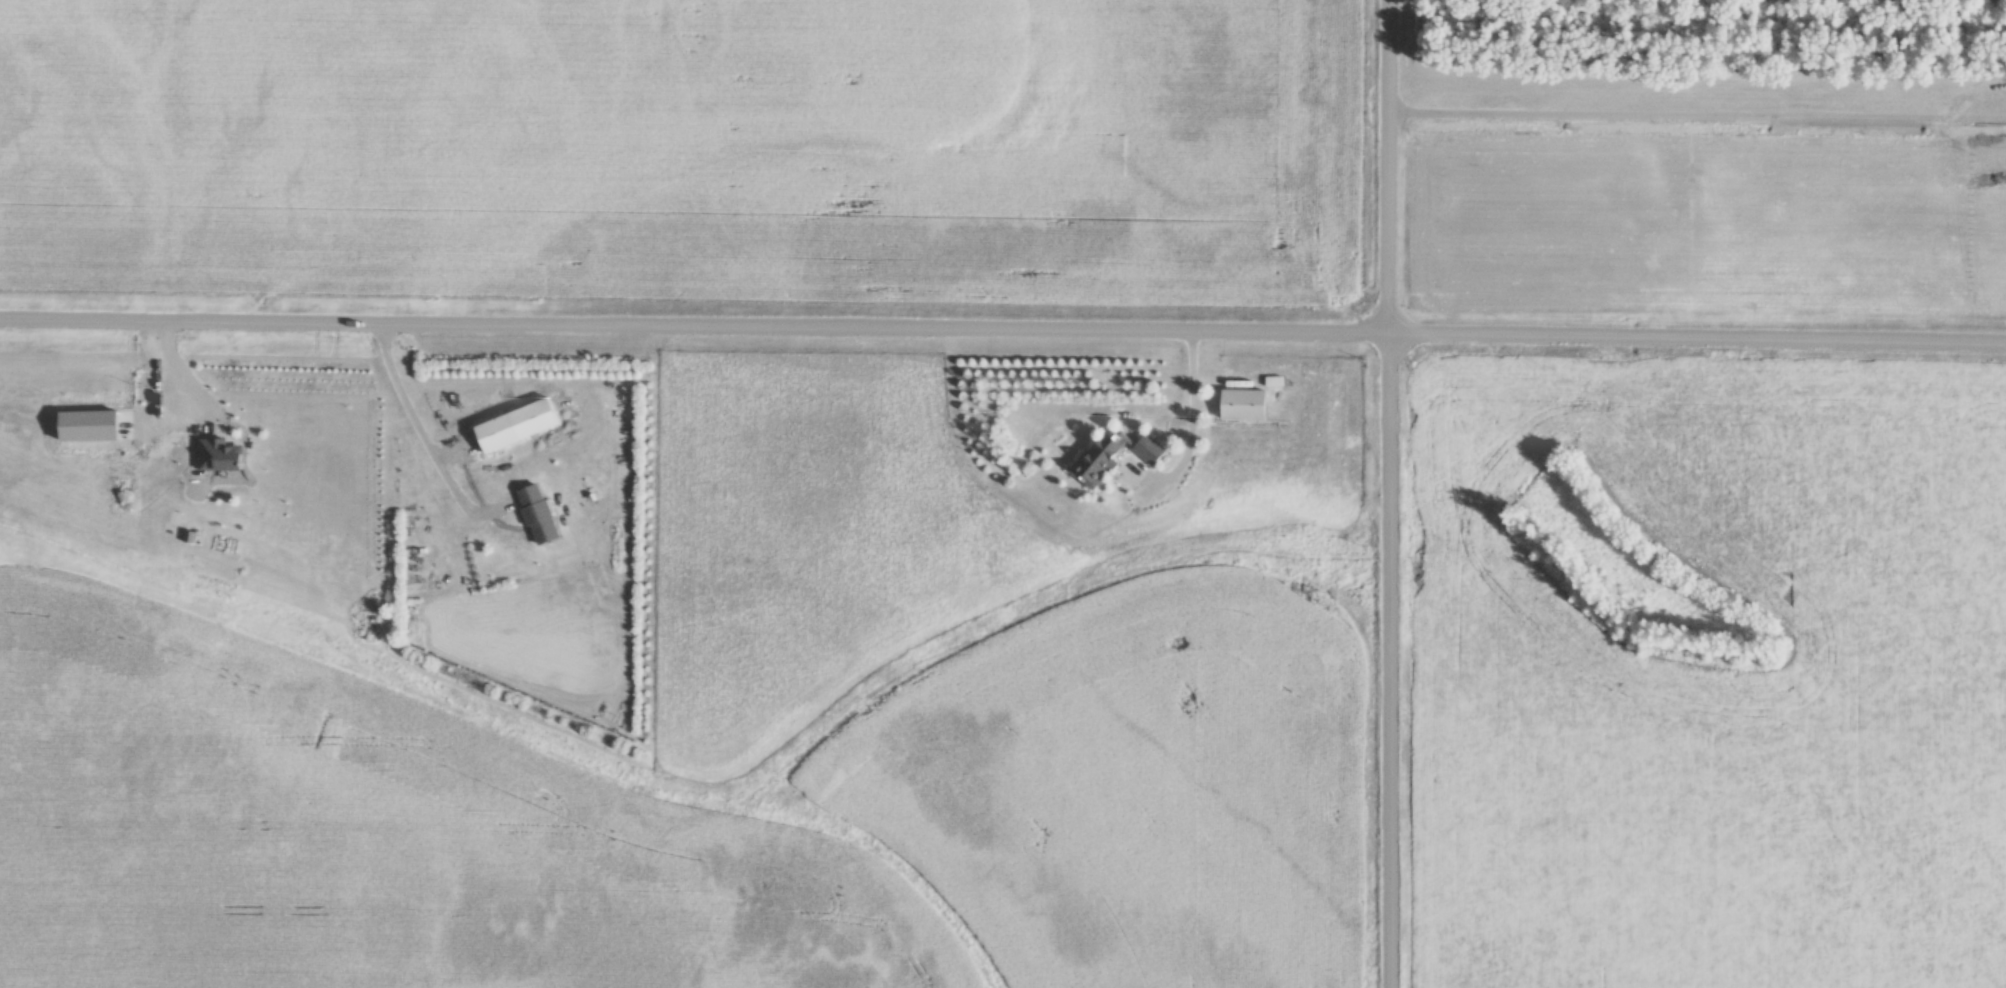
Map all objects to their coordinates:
road: (1003, 326)
road: (180, 372)
road: (1196, 426)
building: (500, 434)
road: (422, 437)
building: (1152, 450)
building: (223, 454)
building: (1103, 457)
road: (1385, 494)
building: (541, 515)

